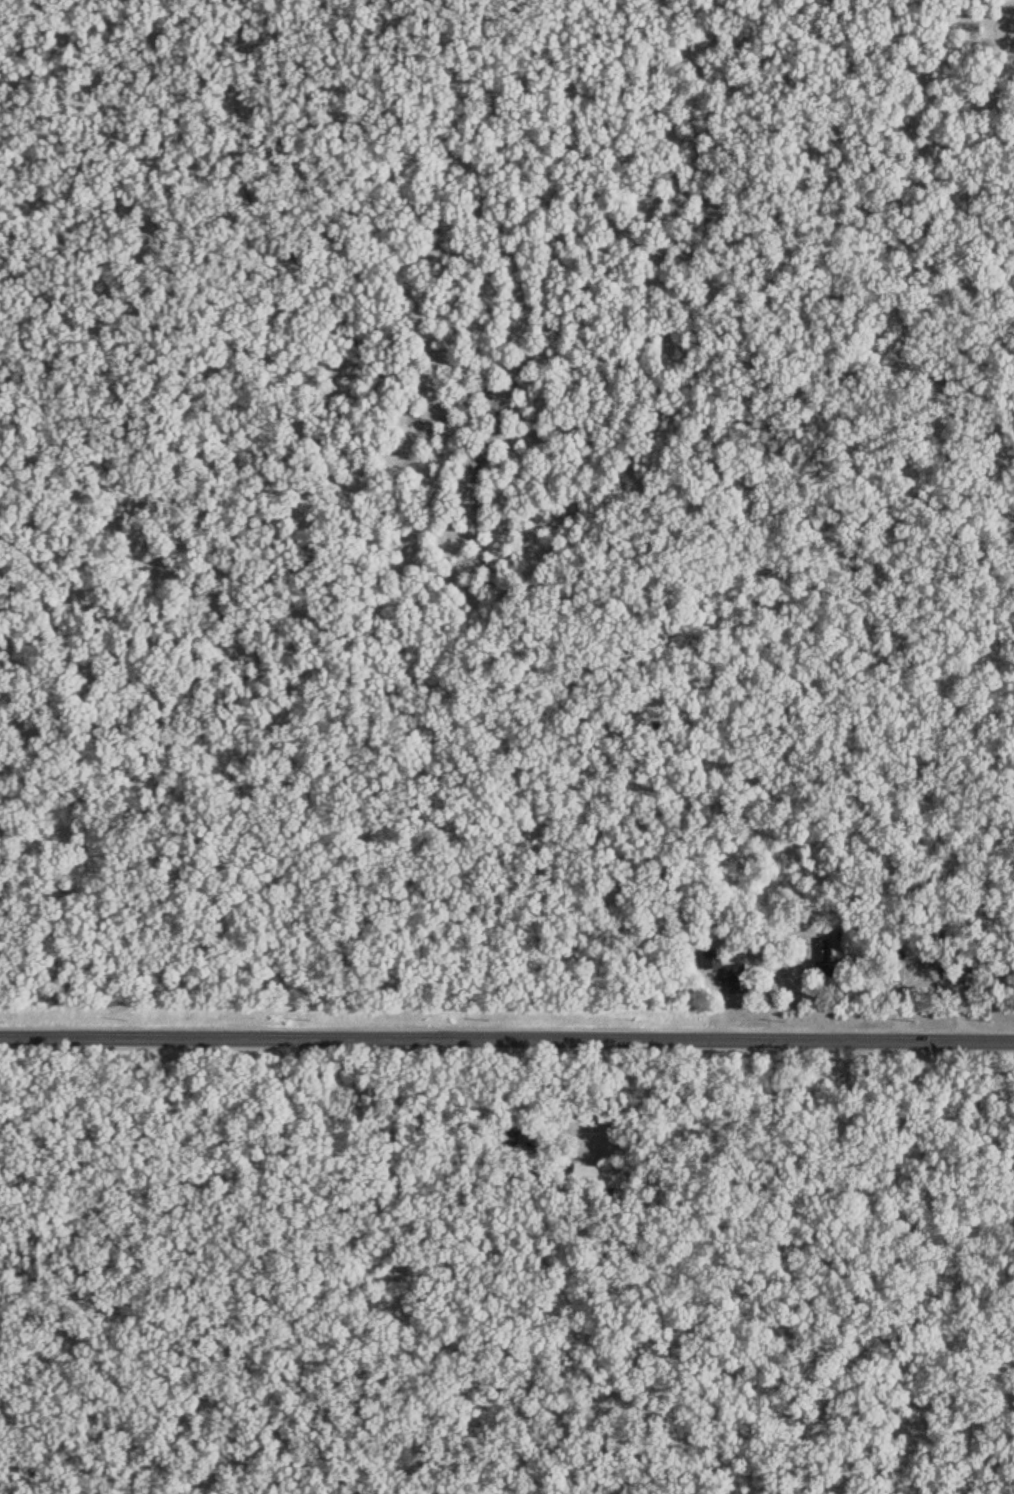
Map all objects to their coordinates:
building: (823, 955)
building: (712, 957)
building: (974, 973)
building: (733, 978)
road: (507, 1037)
building: (505, 1136)
building: (597, 1175)

